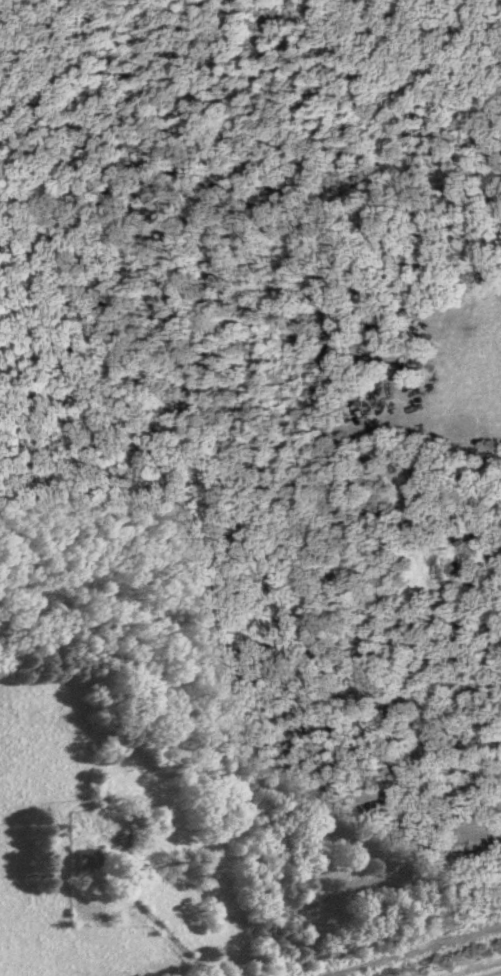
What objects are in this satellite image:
building: (77, 860)
building: (195, 874)
road: (155, 927)
railway: (388, 944)

